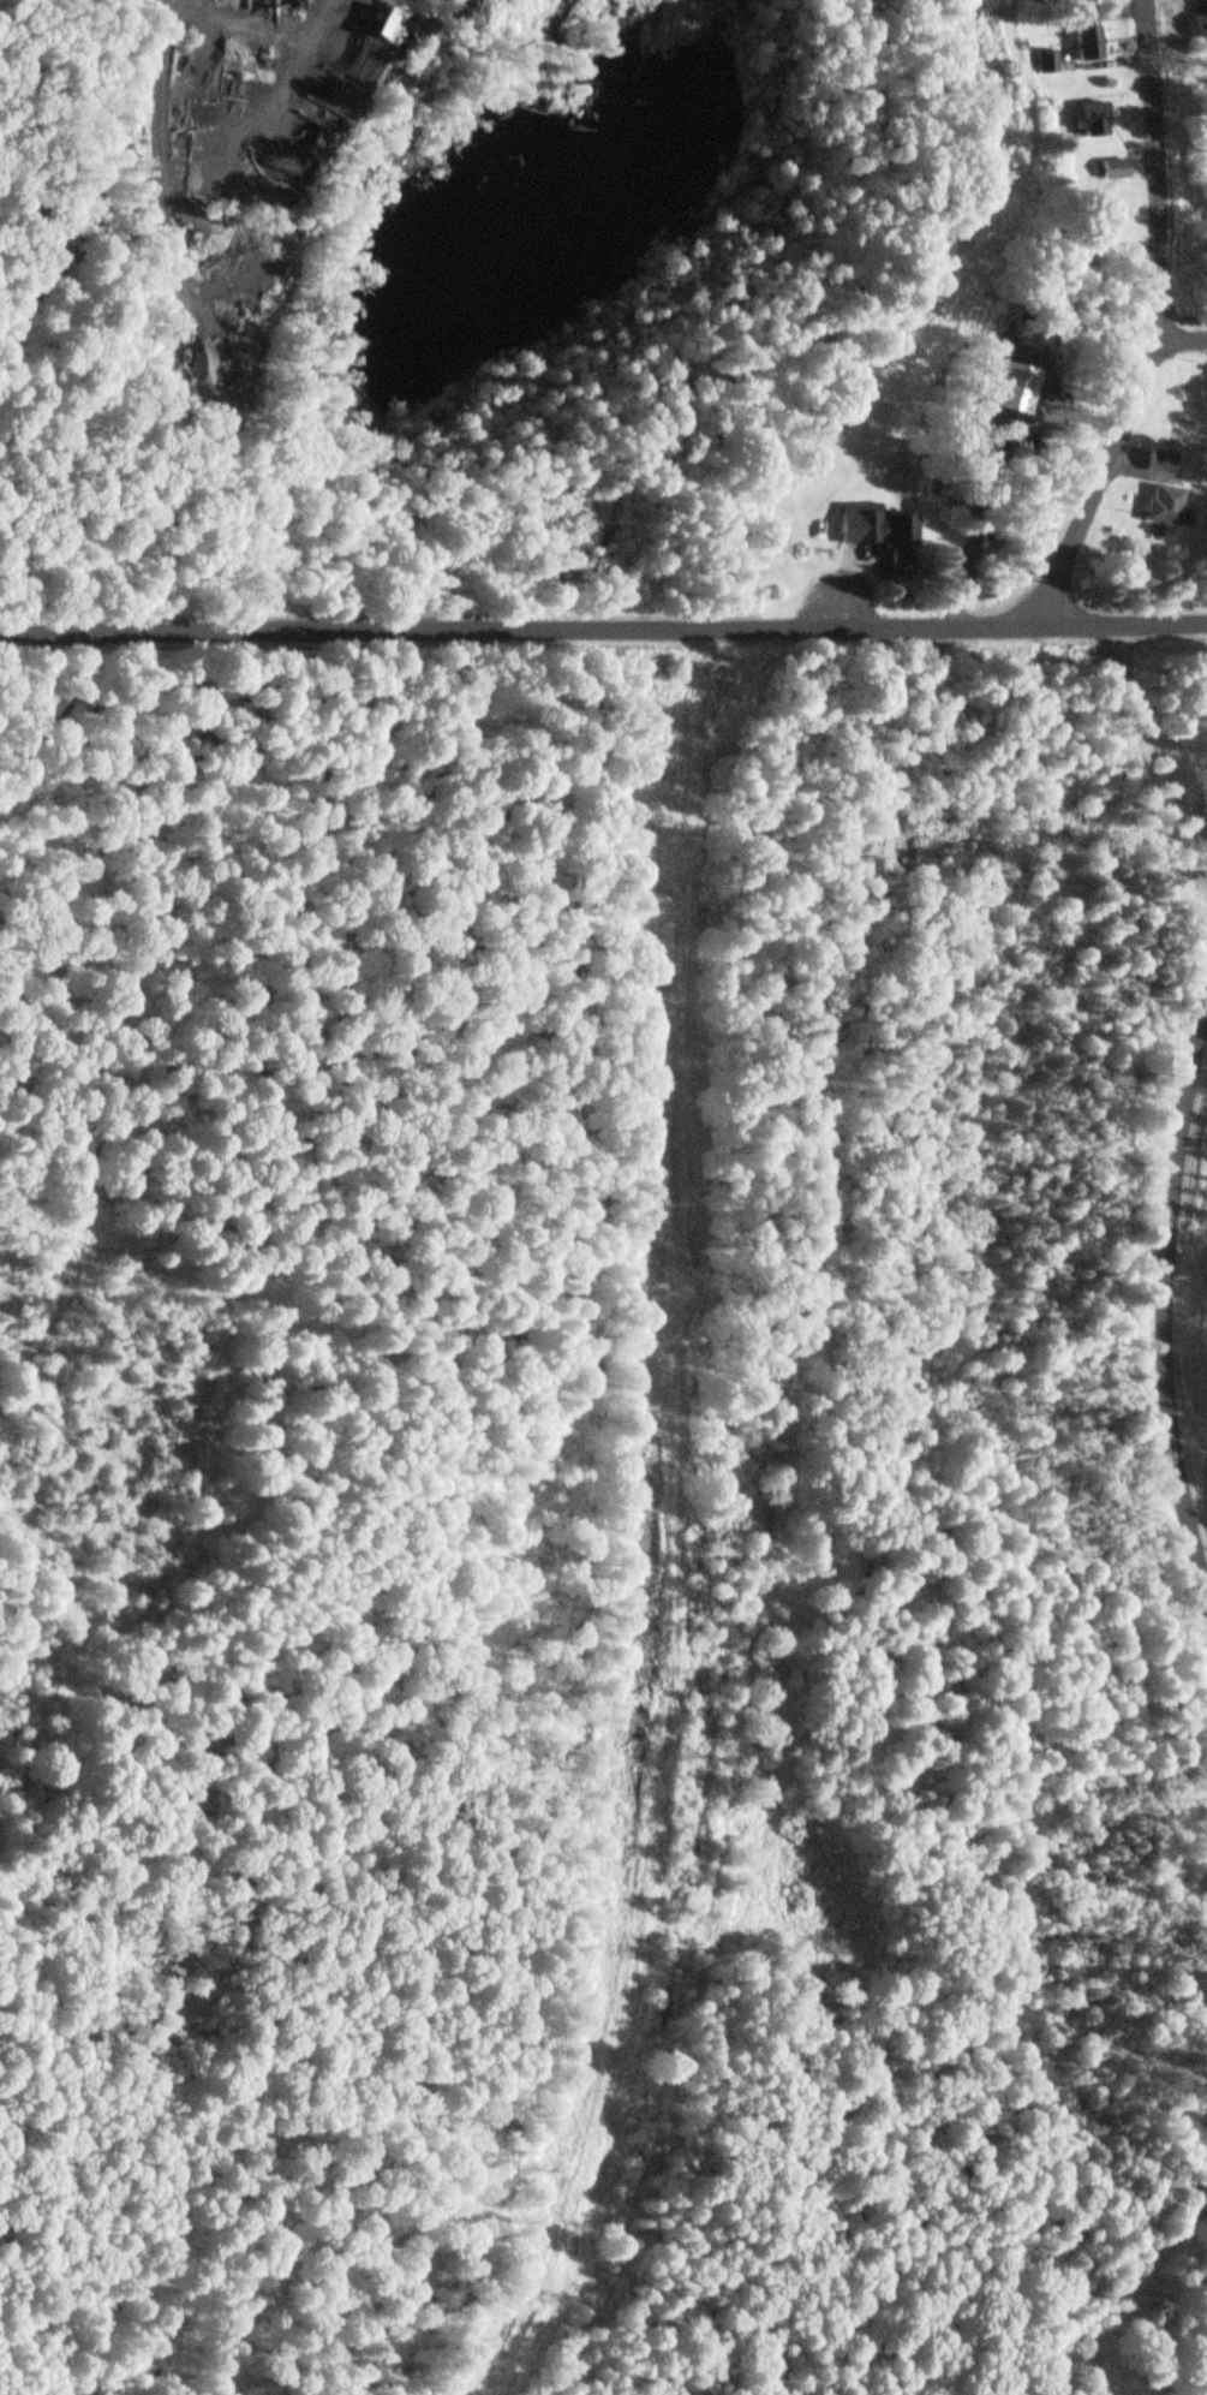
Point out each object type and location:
building: (1195, 24)
building: (1078, 36)
building: (1040, 64)
building: (1086, 123)
building: (1107, 172)
power tower: (1005, 190)
road: (1148, 321)
road: (1177, 341)
building: (1155, 463)
building: (1161, 508)
building: (879, 538)
power tower: (795, 555)
road: (603, 627)
power tower: (665, 776)
power tower: (650, 1205)
road: (1165, 1310)
power tower: (643, 1624)
road: (153, 1940)
power tower: (607, 1952)
power tower: (538, 2296)
road: (1206, 2388)

